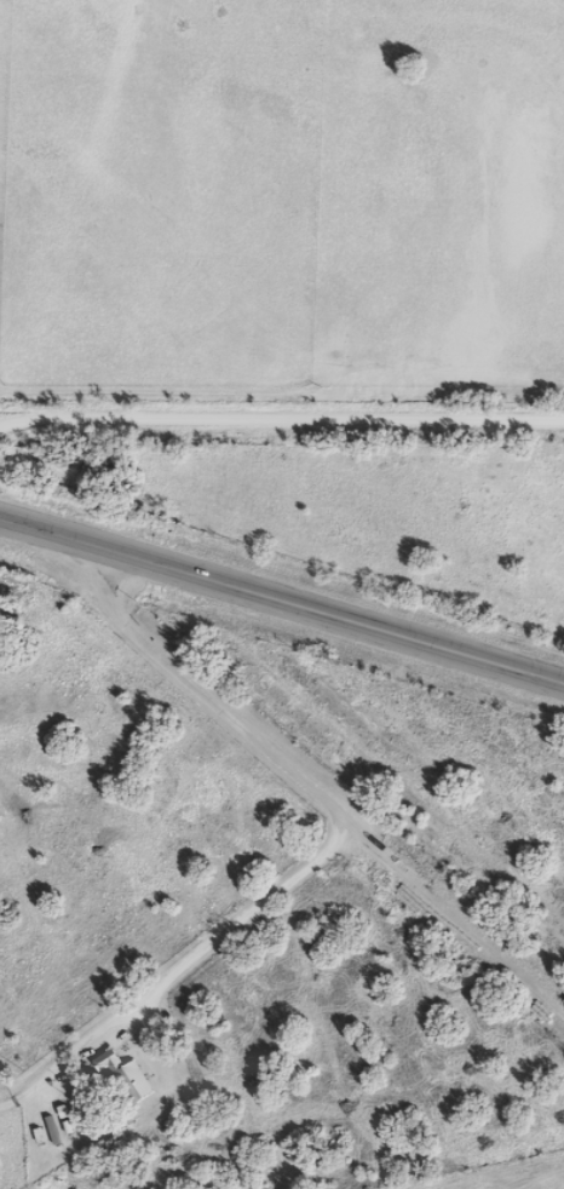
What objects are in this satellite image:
road: (280, 432)
road: (282, 598)
road: (338, 769)
road: (207, 990)
building: (127, 1085)

